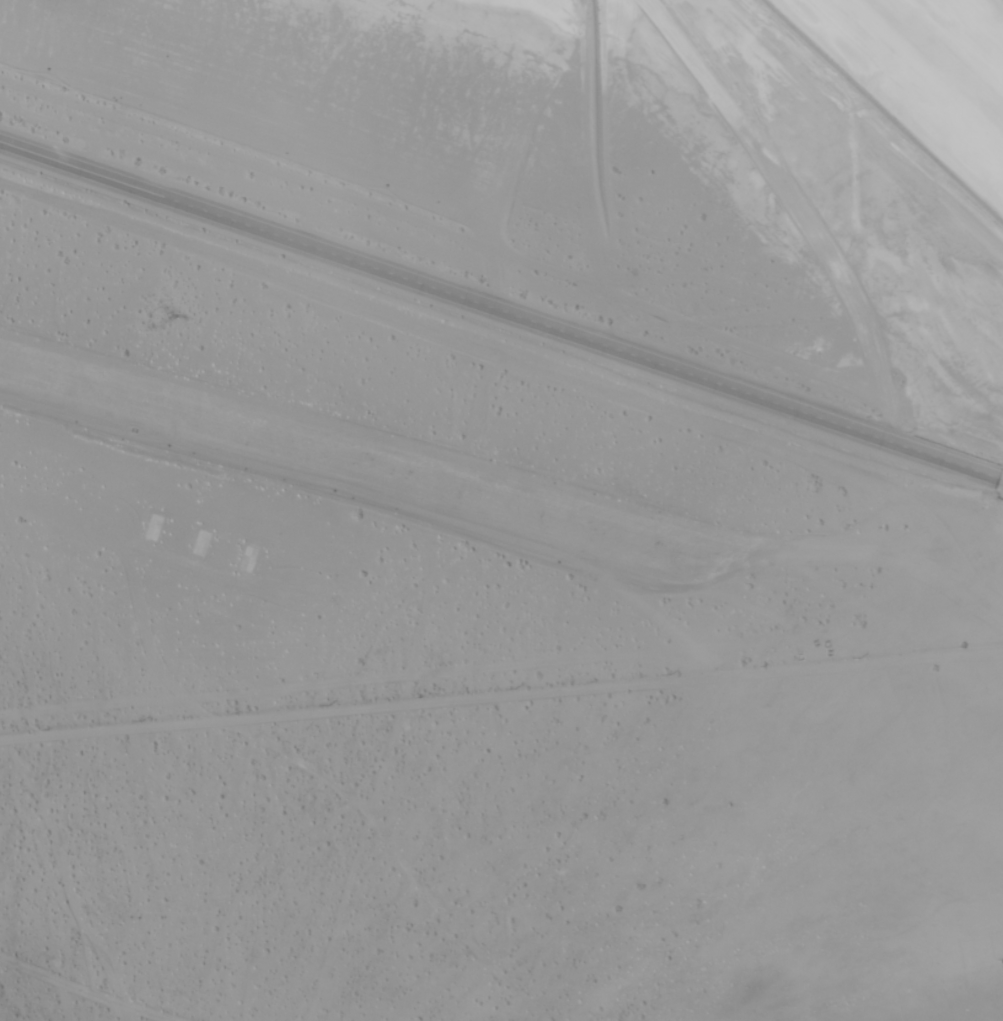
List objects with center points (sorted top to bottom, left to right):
airport taxiway: (941, 57)
road: (501, 311)
road: (521, 366)
airport apron: (248, 489)
airport: (507, 502)
road: (822, 561)
building: (843, 619)
building: (993, 625)
building: (965, 627)
building: (933, 629)
building: (903, 632)
building: (962, 671)
road: (501, 697)

